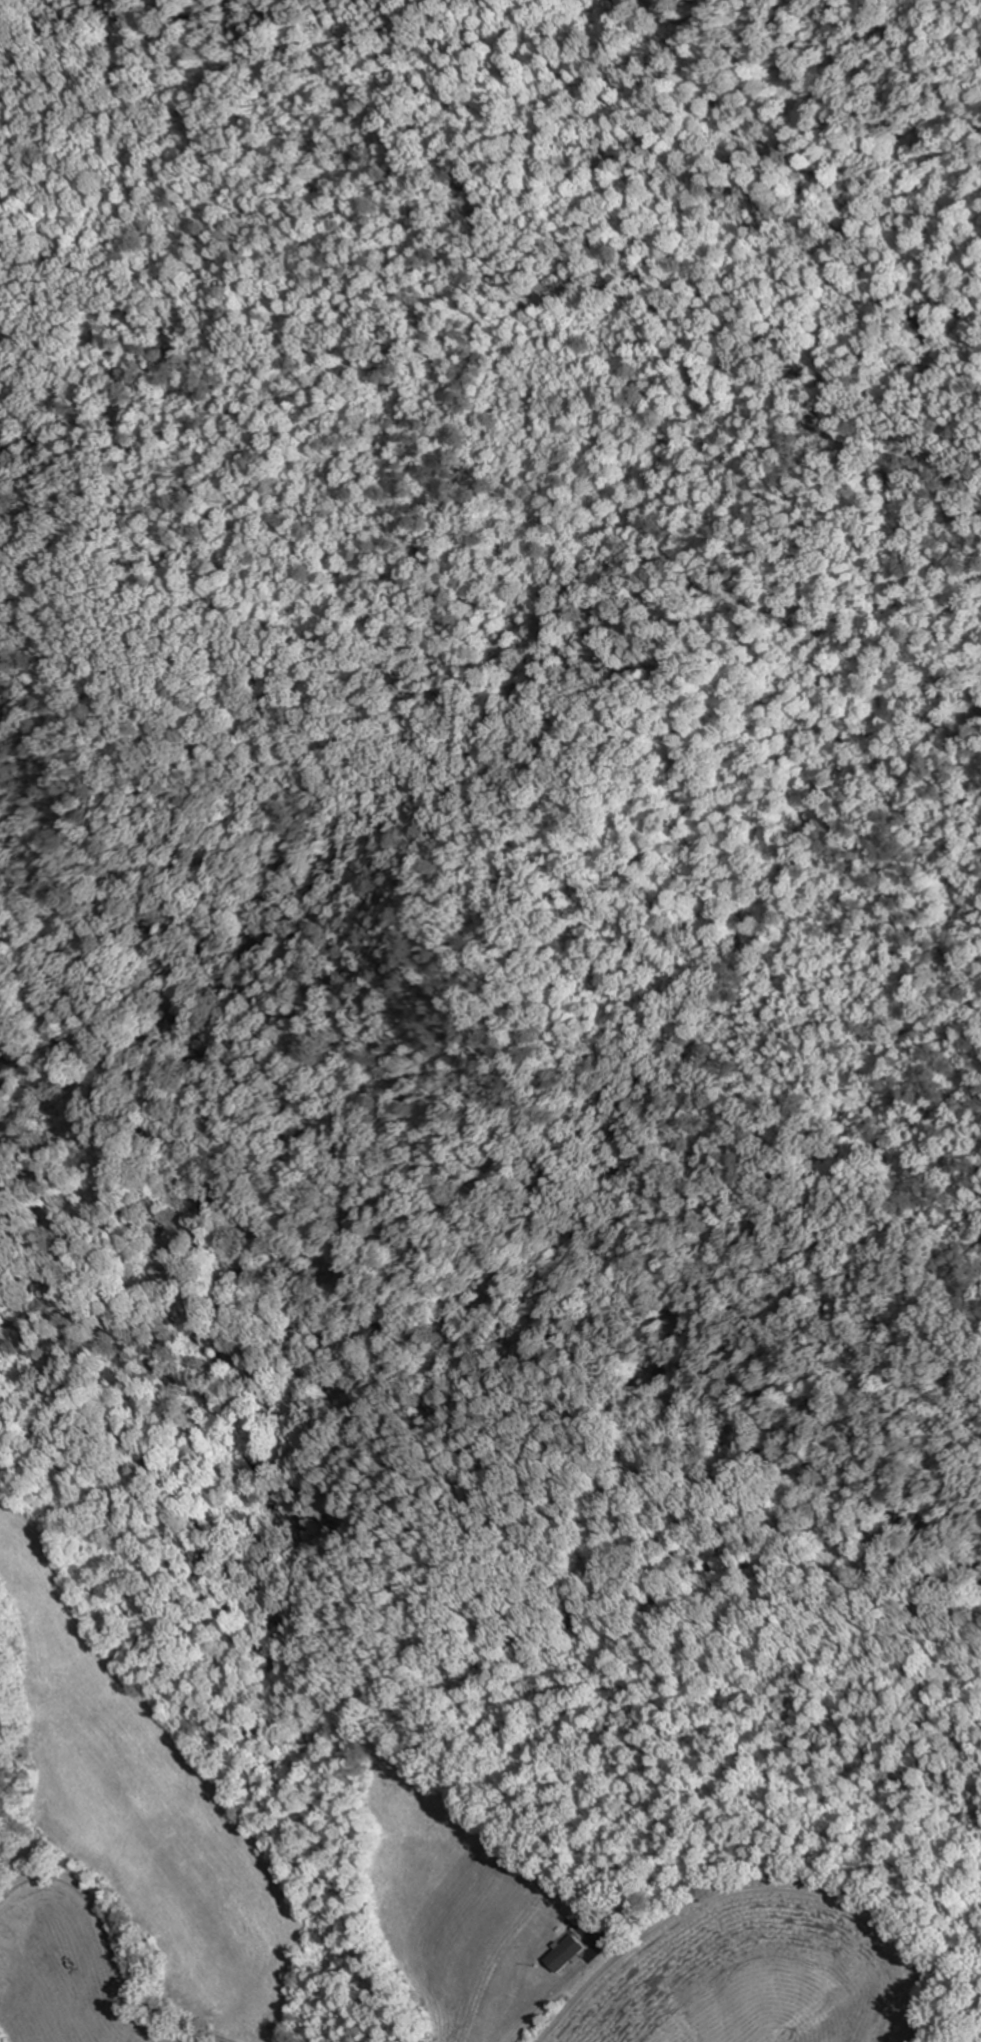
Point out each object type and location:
road: (760, 1882)
road: (116, 1945)

